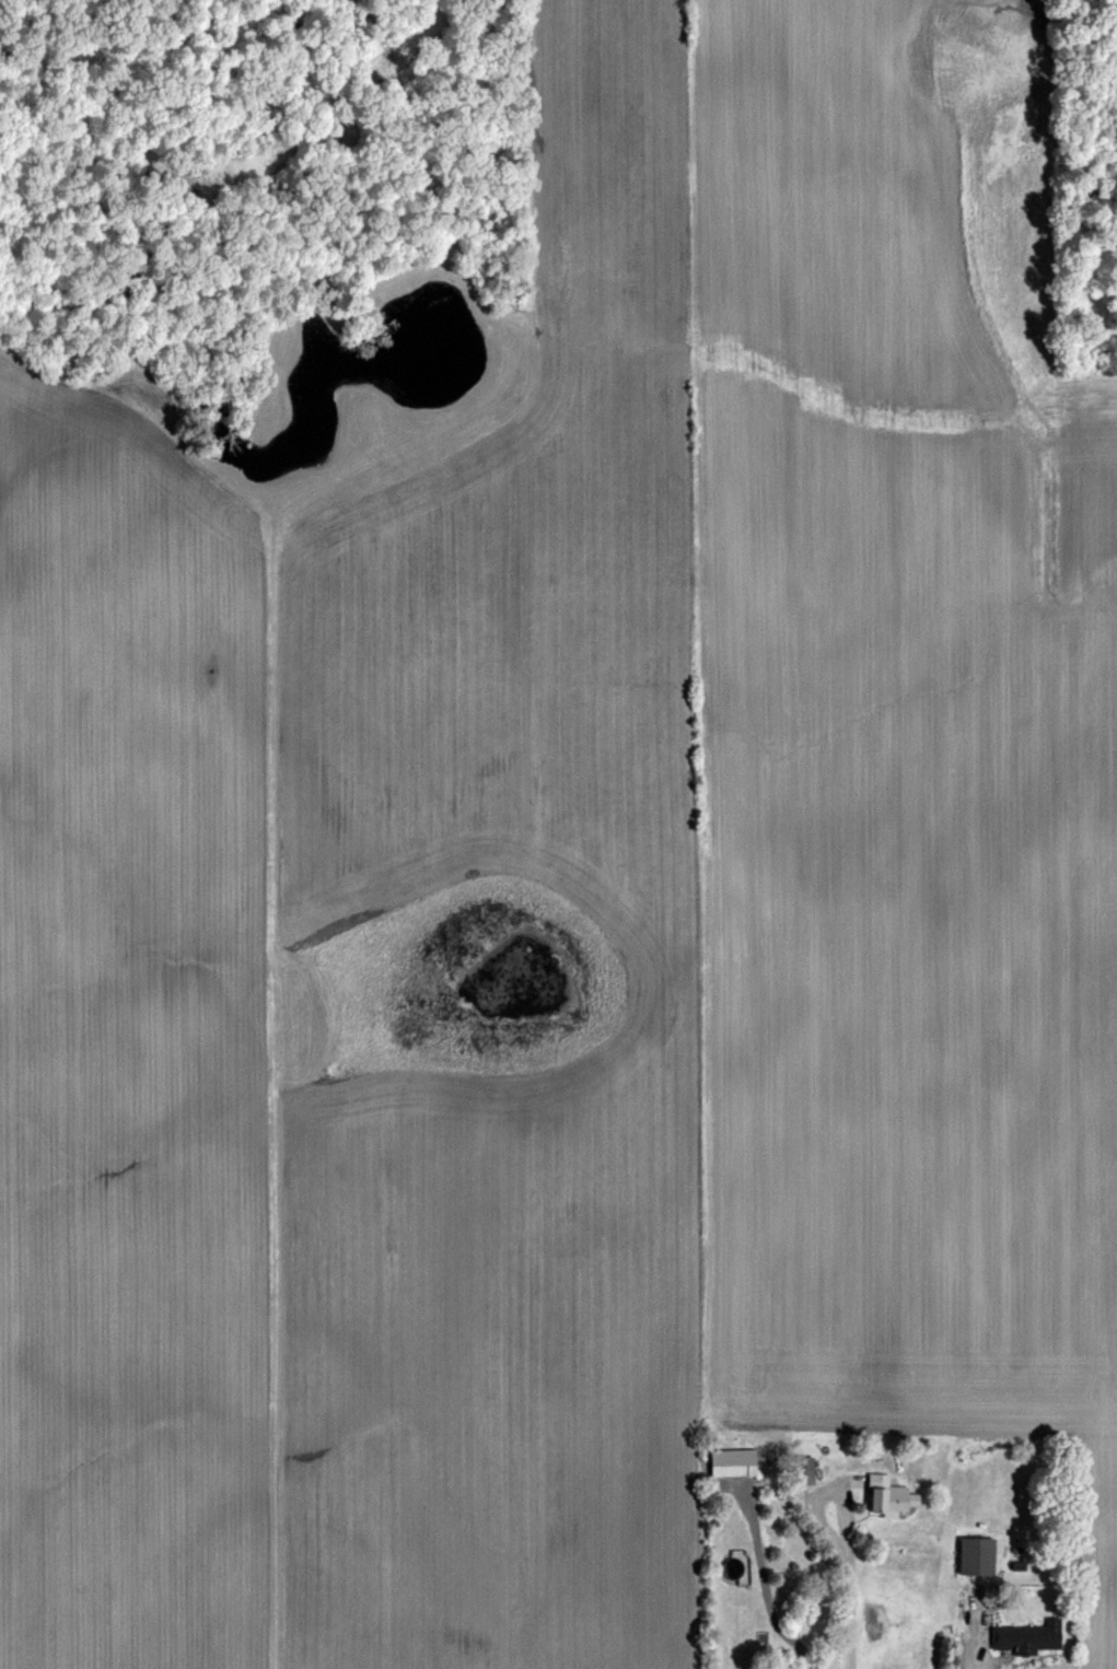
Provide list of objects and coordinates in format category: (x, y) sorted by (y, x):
crop: (558, 834)
building: (726, 1459)
building: (799, 1469)
building: (882, 1492)
building: (970, 1553)
road: (850, 1576)
building: (1023, 1634)
road: (975, 1643)

